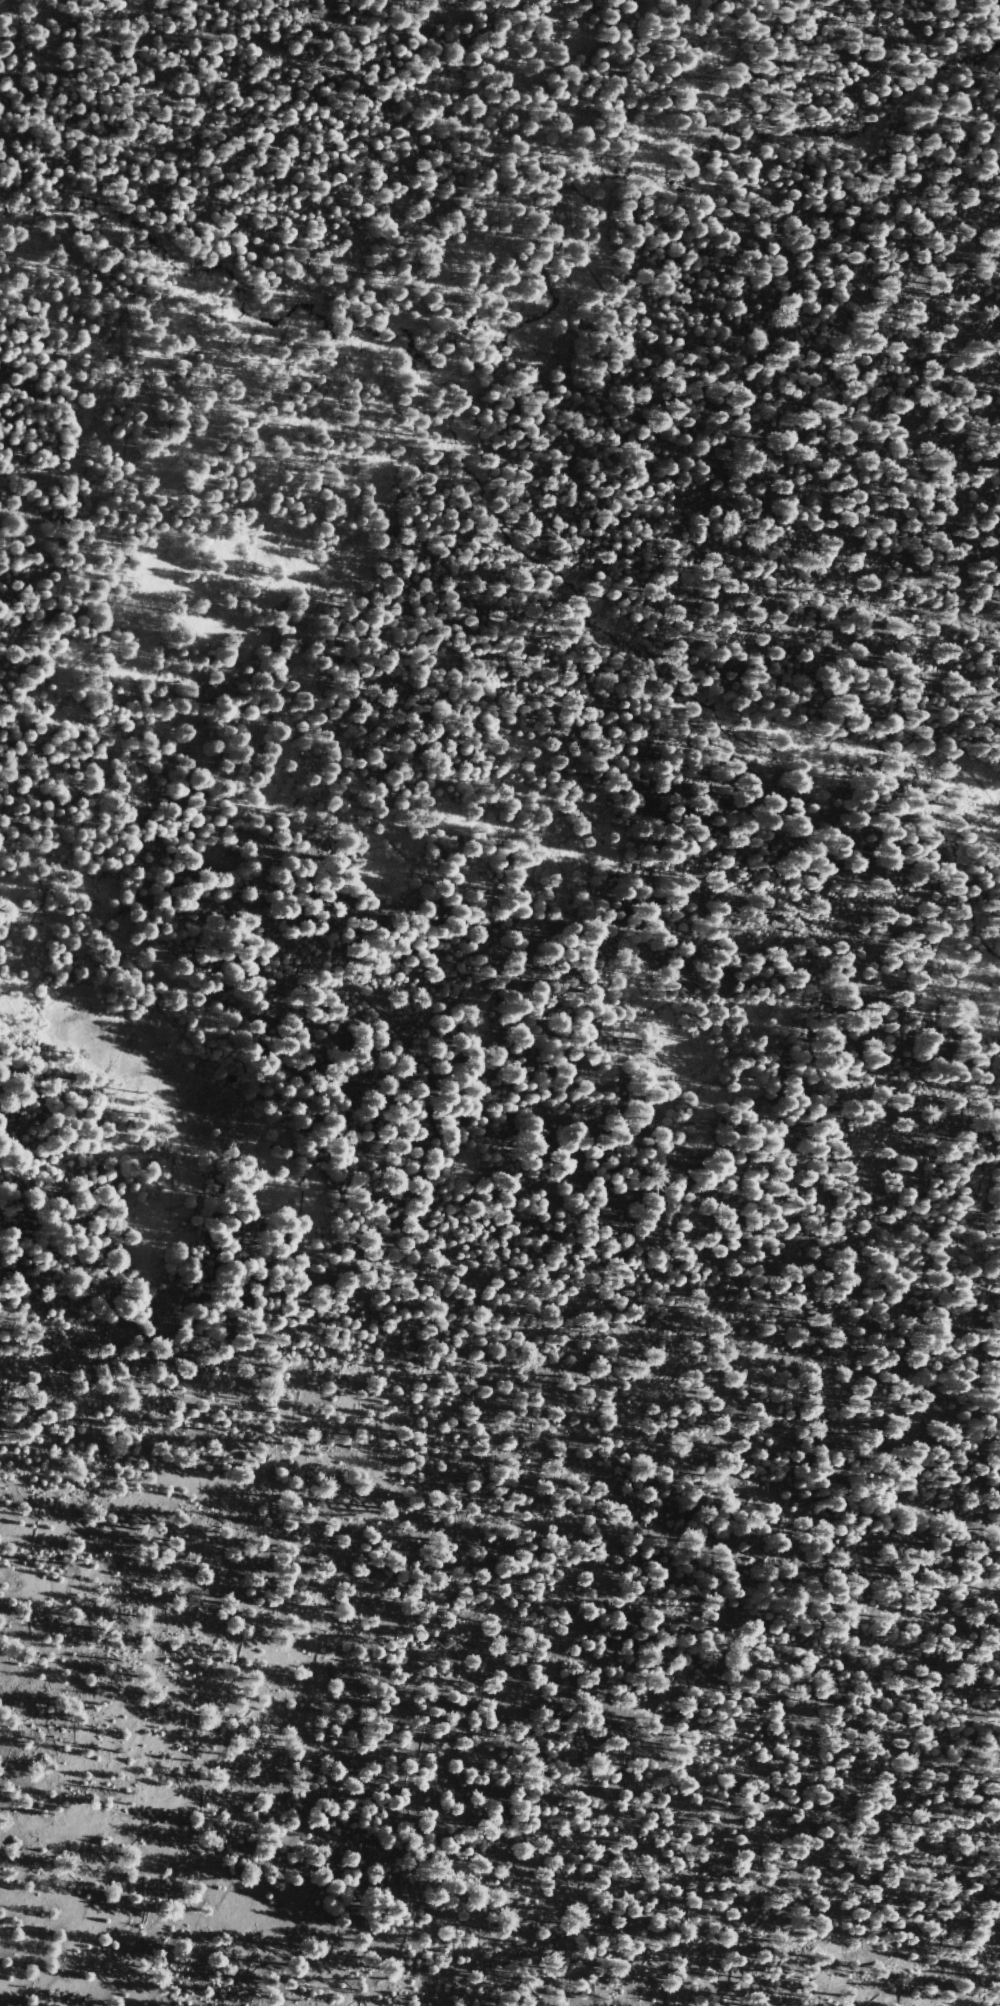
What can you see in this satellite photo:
road: (275, 53)
road: (740, 62)
road: (749, 481)

